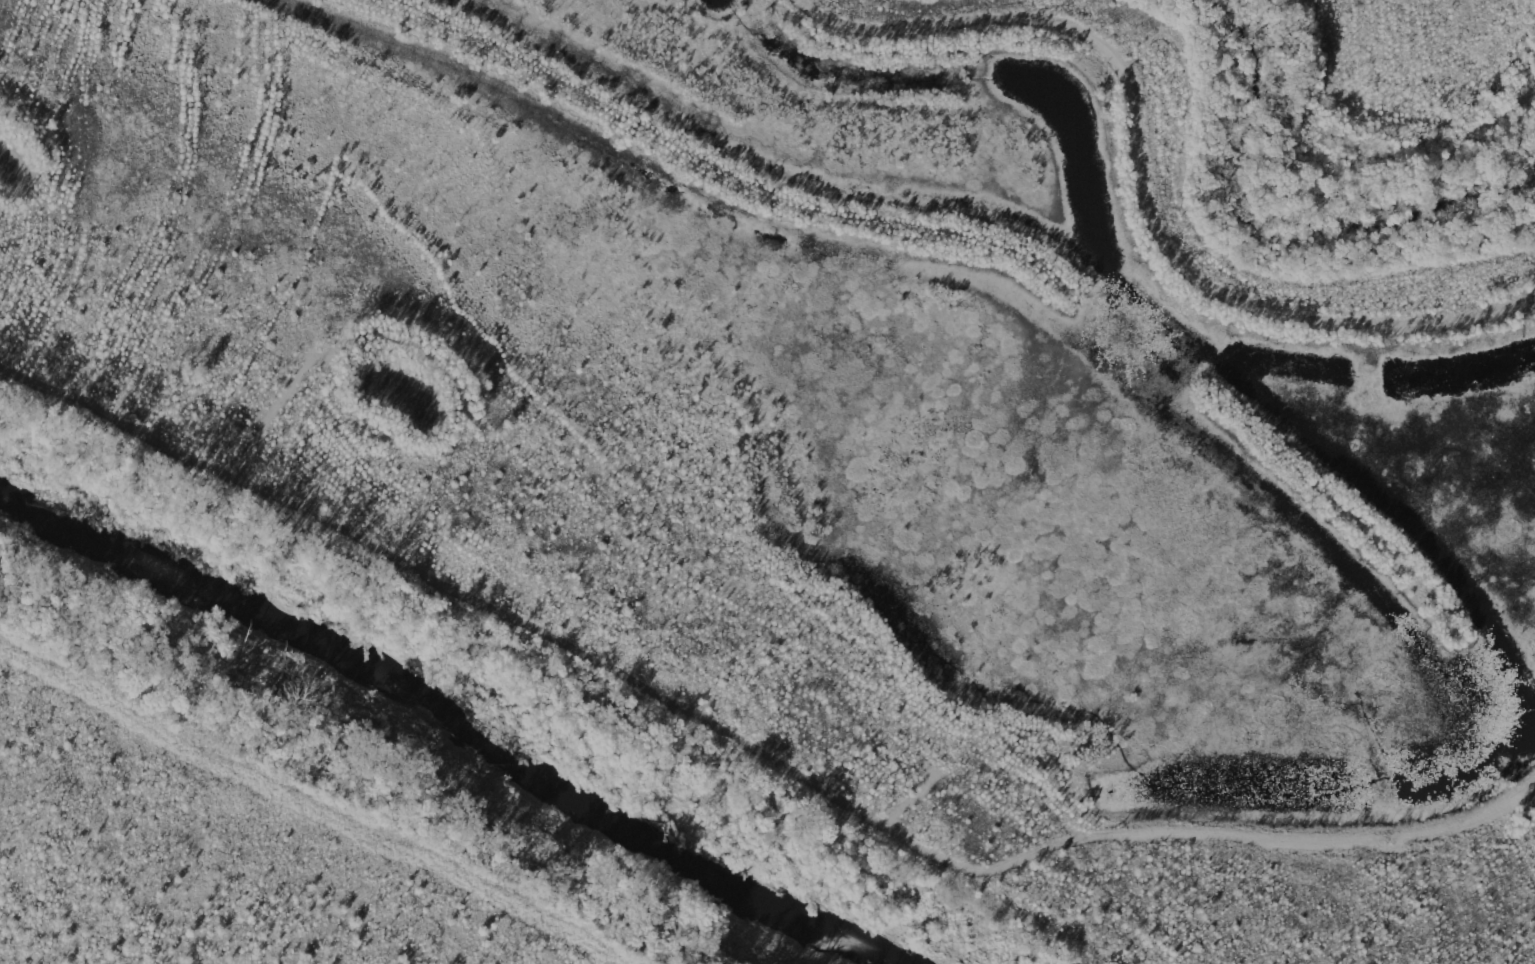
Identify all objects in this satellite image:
river: (474, 740)

